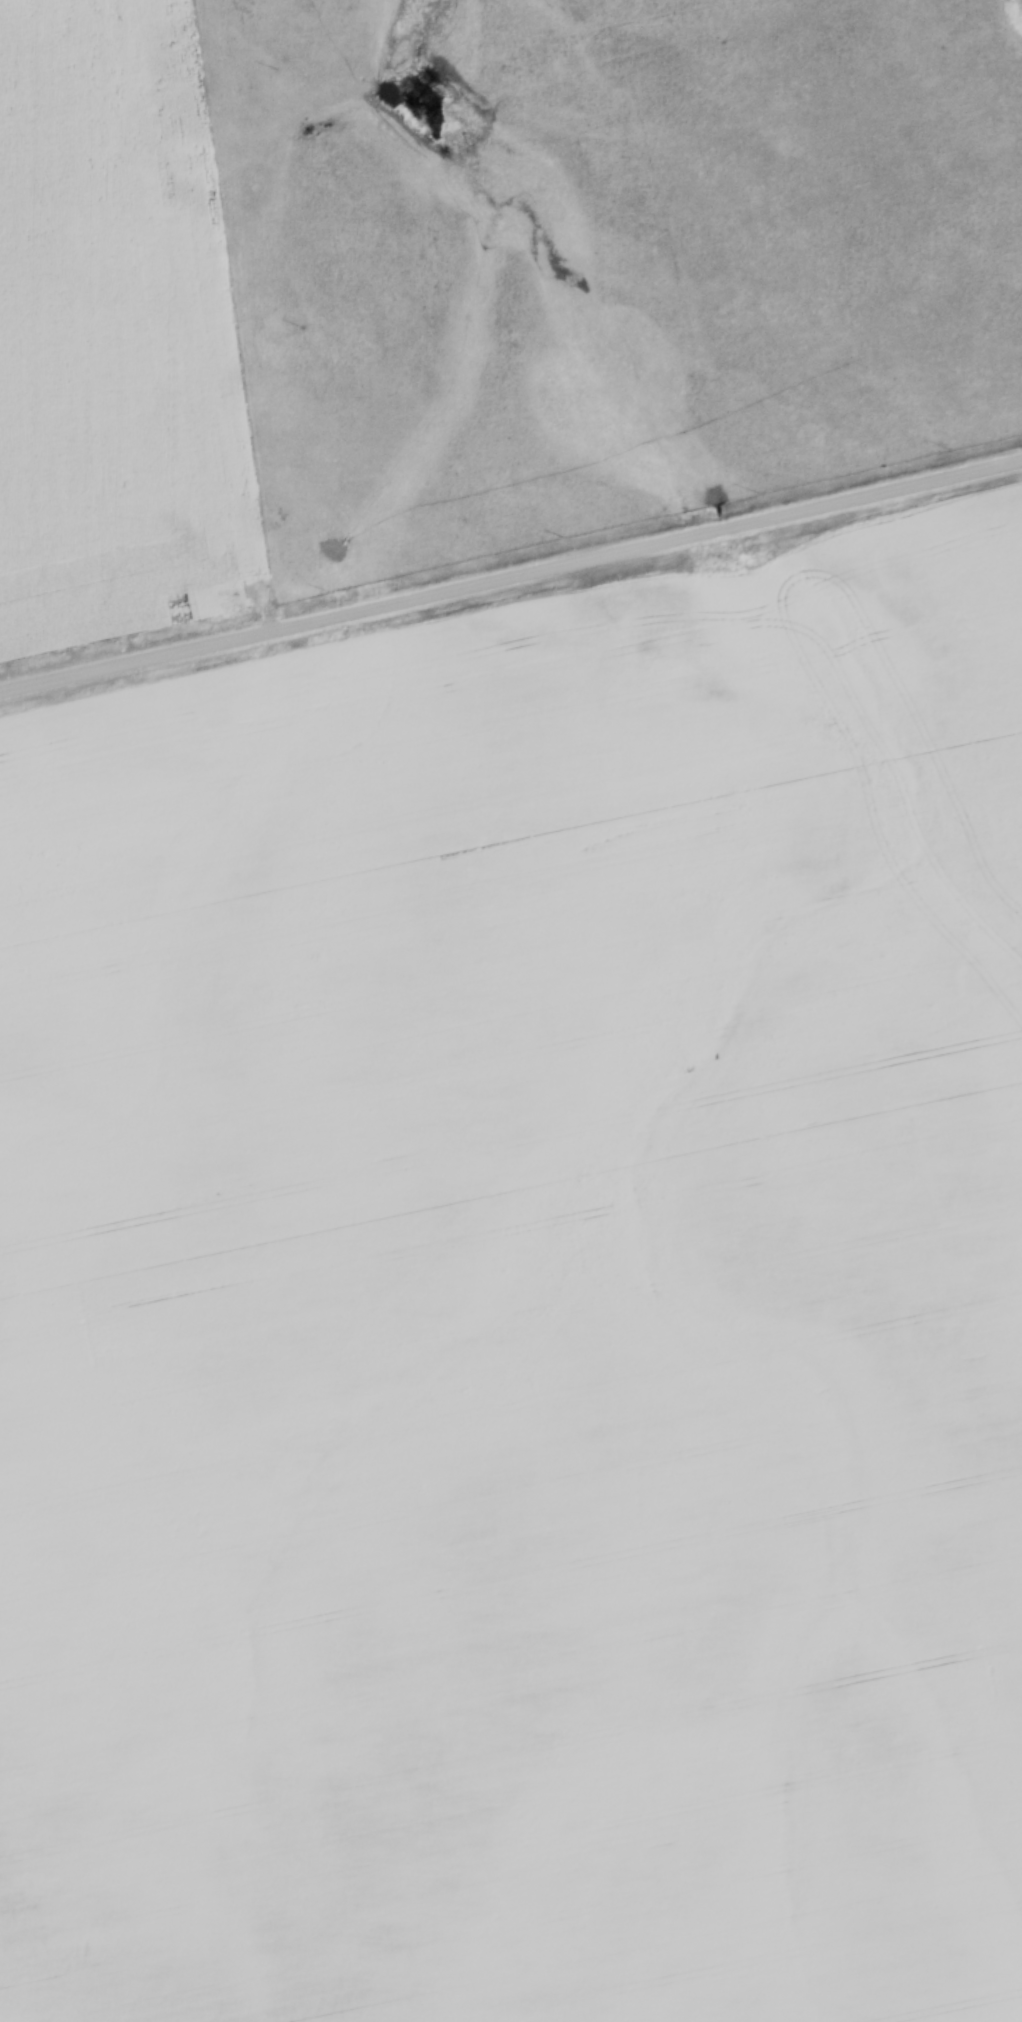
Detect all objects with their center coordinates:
road: (511, 574)

